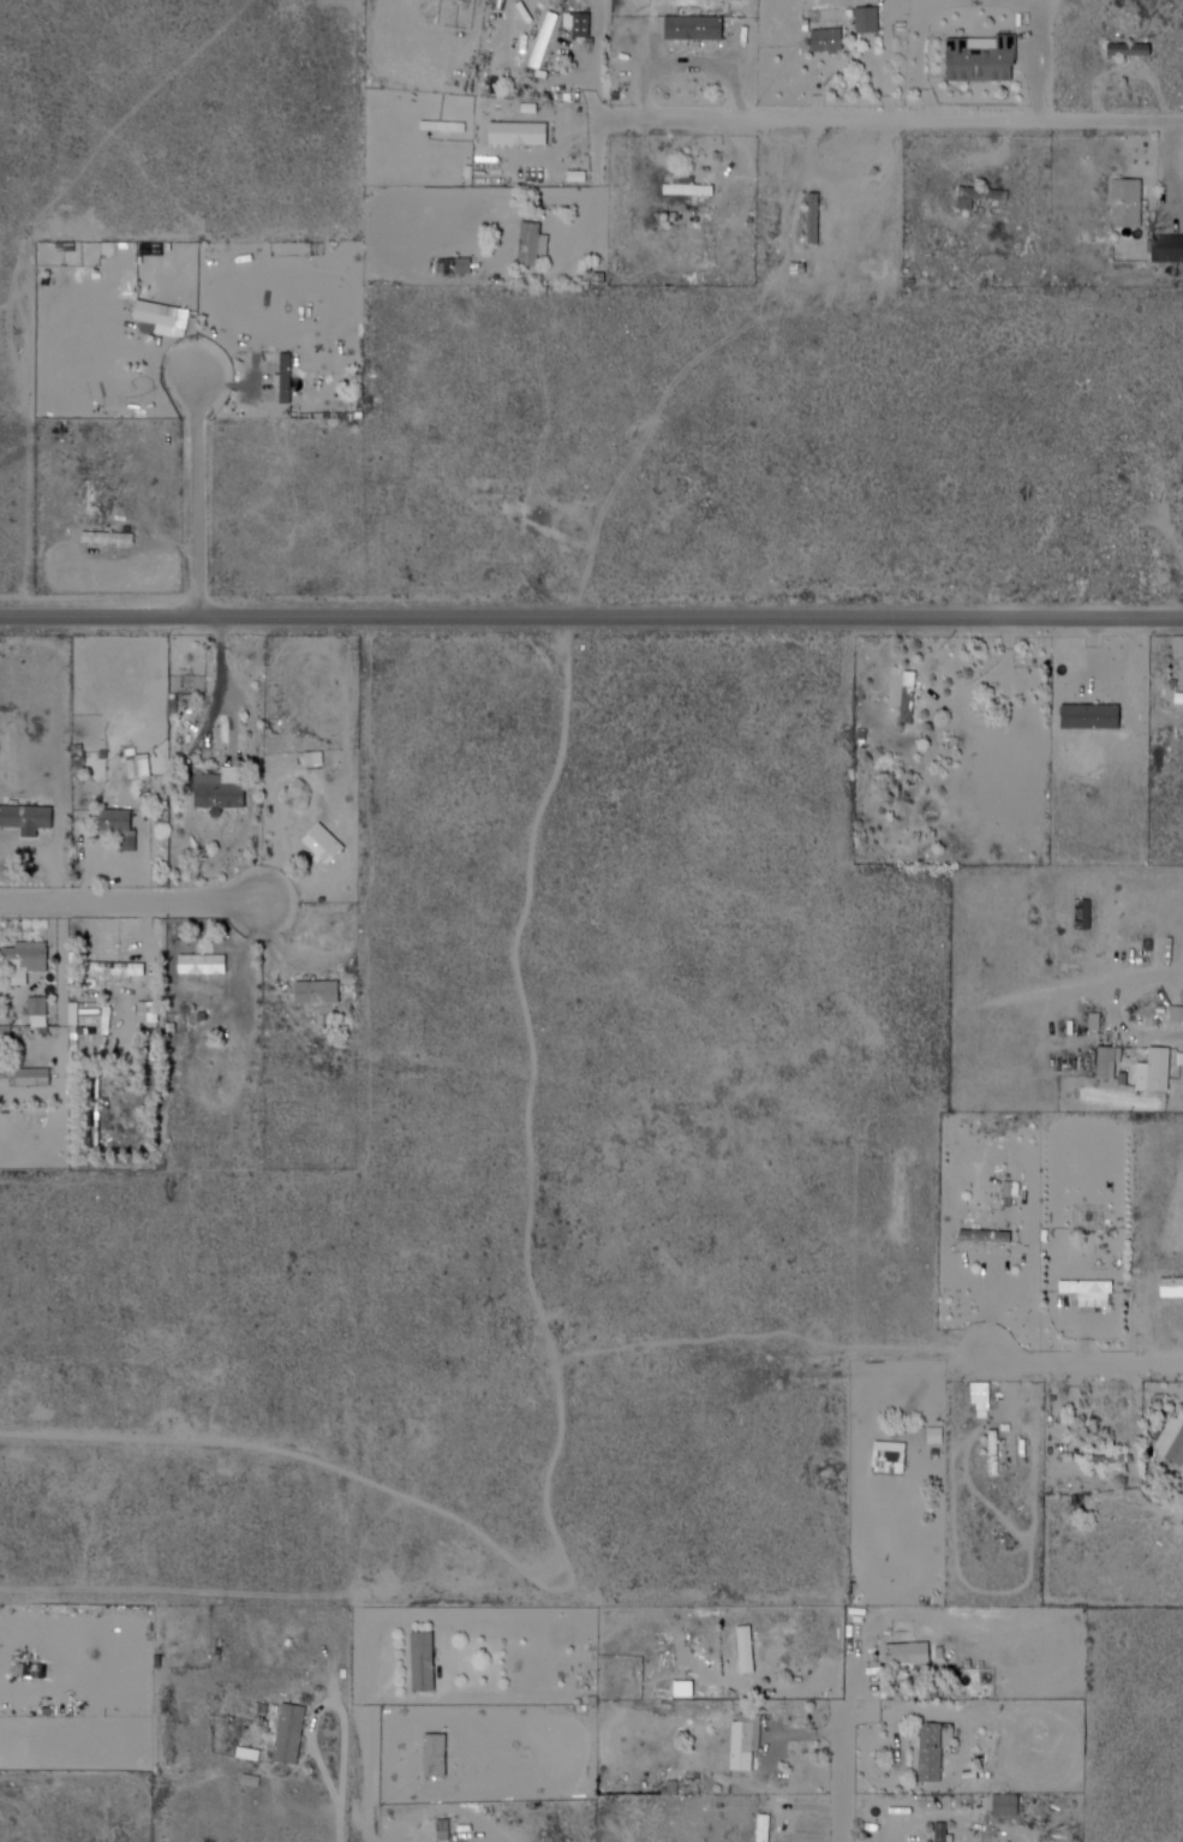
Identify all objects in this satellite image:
building: (698, 28)
building: (551, 32)
building: (832, 38)
building: (542, 40)
building: (1135, 50)
building: (987, 56)
road: (892, 119)
building: (522, 133)
building: (692, 185)
building: (981, 196)
building: (1134, 202)
building: (812, 217)
building: (820, 219)
building: (512, 239)
building: (538, 242)
building: (1169, 251)
building: (168, 316)
building: (291, 377)
building: (283, 378)
road: (204, 499)
building: (113, 537)
road: (591, 620)
building: (913, 695)
building: (906, 698)
building: (1181, 698)
building: (1097, 716)
building: (226, 787)
building: (30, 819)
building: (126, 830)
building: (329, 846)
road: (141, 904)
building: (1080, 905)
building: (209, 965)
building: (20, 974)
building: (135, 978)
building: (322, 989)
building: (112, 1020)
building: (1104, 1061)
building: (1159, 1072)
building: (990, 1235)
building: (1173, 1289)
building: (1095, 1292)
road: (1093, 1366)
building: (1173, 1436)
building: (998, 1451)
building: (991, 1453)
building: (895, 1462)
building: (751, 1649)
building: (913, 1655)
building: (426, 1662)
building: (680, 1688)
building: (295, 1733)
building: (749, 1741)
building: (934, 1752)
road: (372, 1763)
road: (848, 1765)
building: (1004, 1805)
building: (766, 1826)
building: (760, 1828)
building: (938, 1831)
building: (945, 1832)

